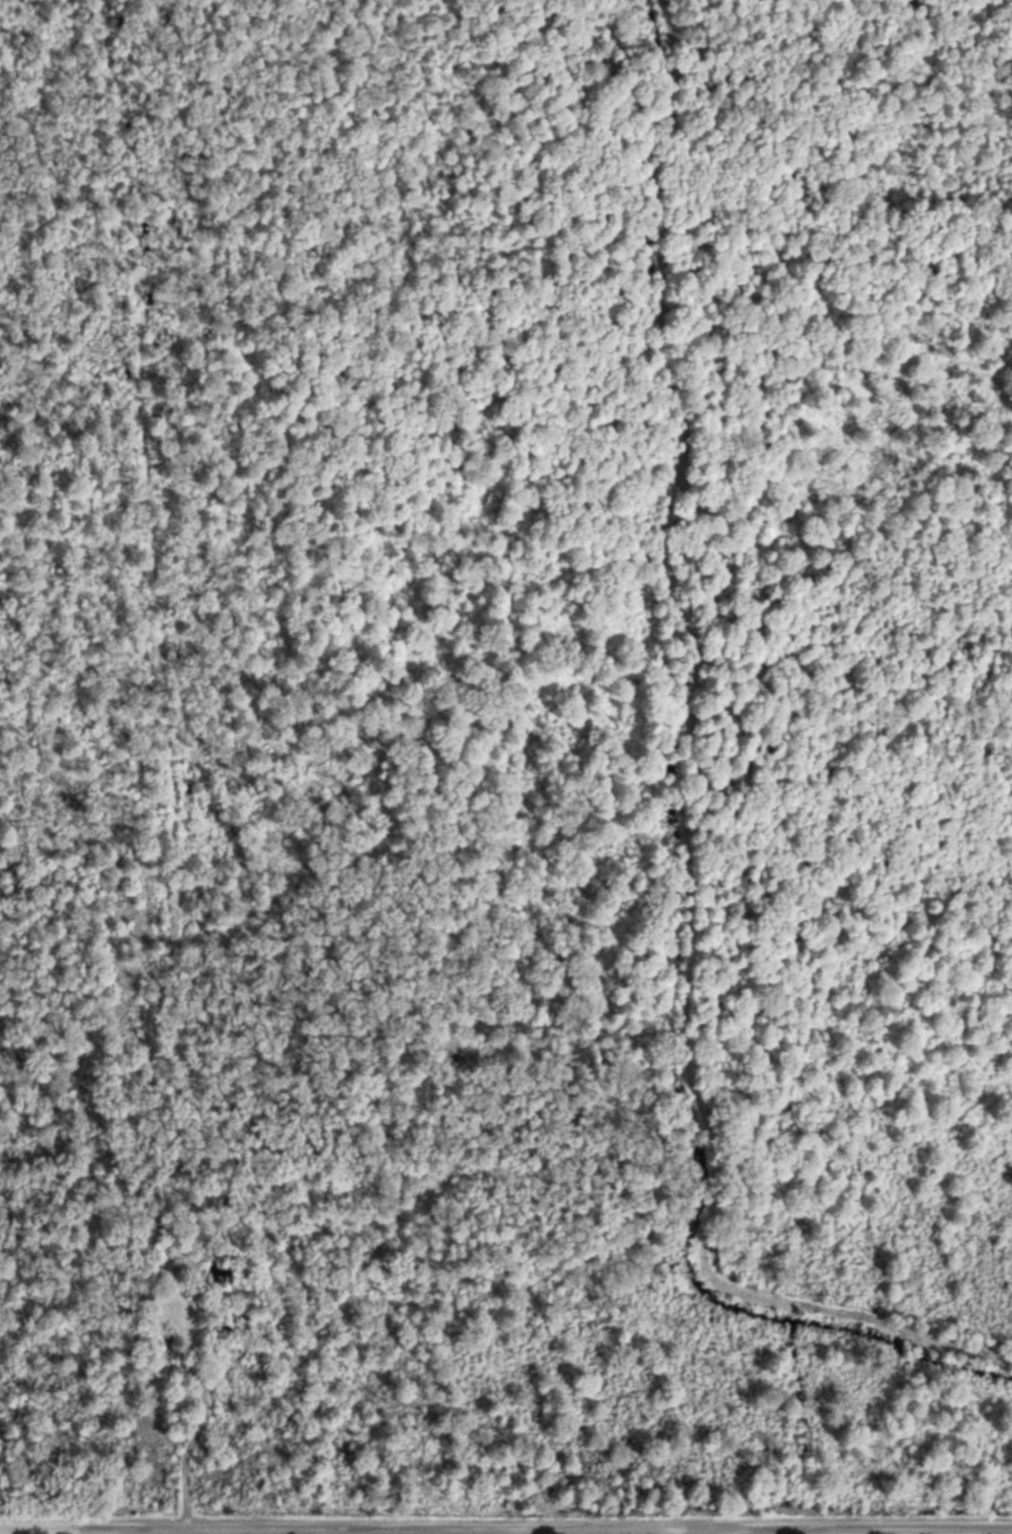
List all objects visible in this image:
road: (506, 1526)

